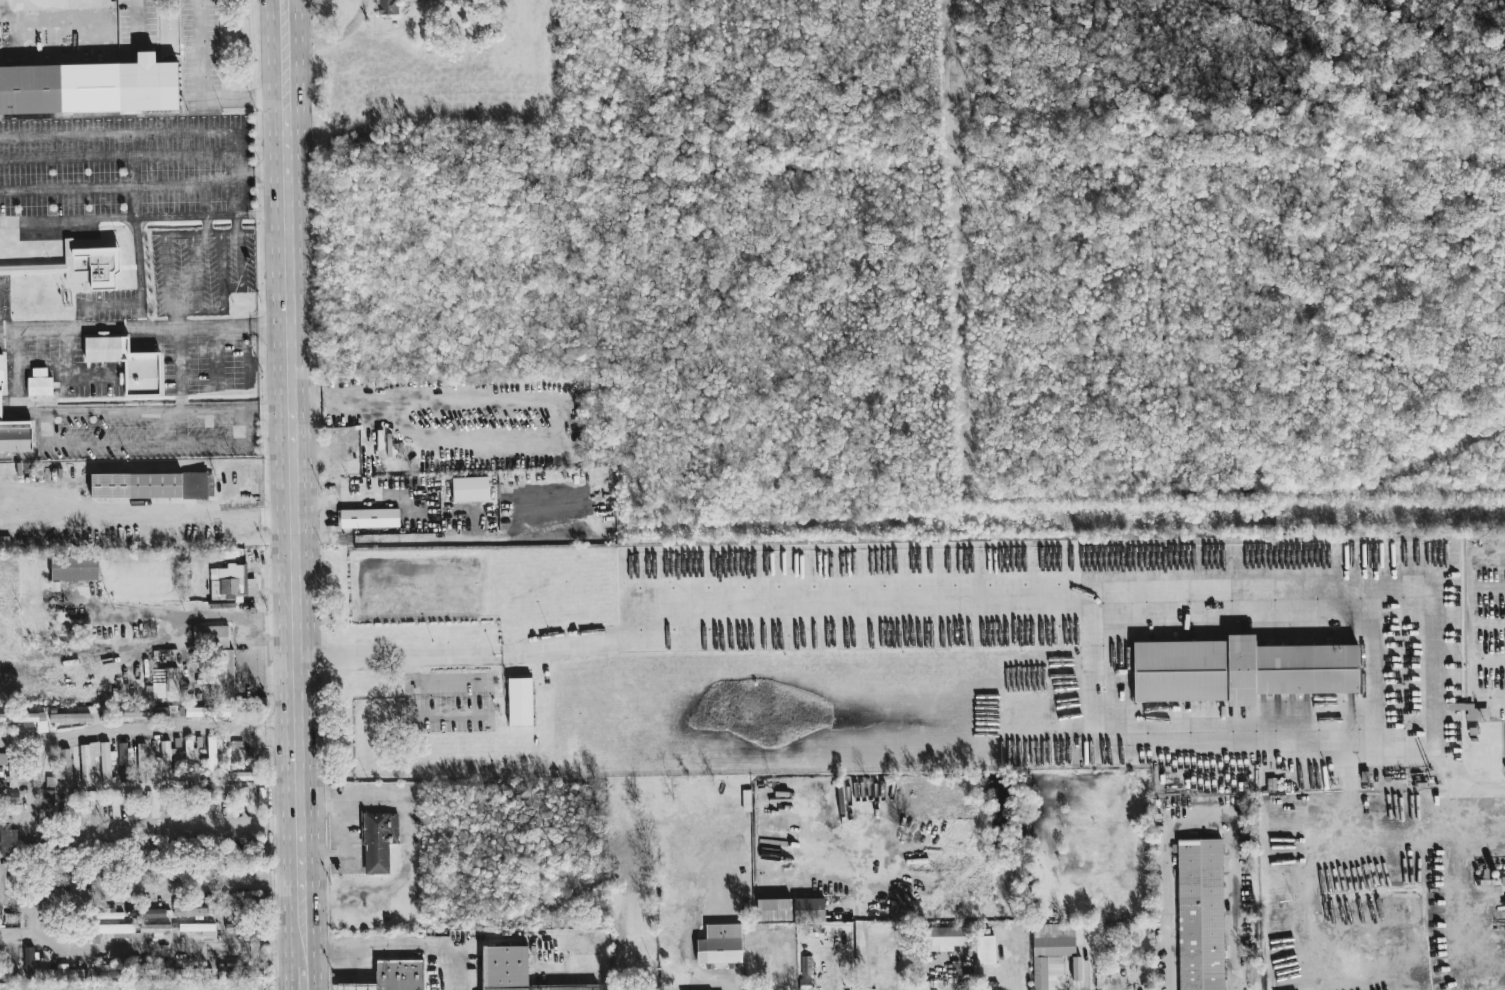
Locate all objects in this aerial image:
building: (464, 0)
building: (388, 7)
road: (212, 78)
road: (271, 86)
road: (297, 86)
building: (90, 87)
road: (116, 133)
road: (117, 156)
road: (234, 172)
road: (134, 174)
road: (117, 185)
road: (205, 198)
road: (261, 213)
road: (118, 216)
road: (206, 223)
road: (222, 230)
road: (185, 233)
road: (222, 259)
building: (92, 266)
road: (140, 272)
road: (194, 272)
road: (166, 275)
road: (234, 286)
road: (178, 320)
road: (214, 327)
road: (71, 329)
building: (128, 363)
building: (40, 383)
road: (268, 413)
building: (13, 428)
road: (144, 440)
building: (152, 485)
building: (470, 489)
building: (369, 518)
road: (145, 527)
road: (291, 534)
building: (75, 567)
road: (1474, 571)
road: (1383, 577)
building: (231, 582)
road: (690, 606)
road: (184, 615)
road: (1490, 623)
parking lot: (1486, 624)
road: (1475, 641)
building: (218, 660)
road: (1371, 662)
building: (1235, 671)
road: (1475, 676)
building: (164, 682)
building: (520, 701)
building: (1471, 711)
building: (146, 712)
building: (206, 712)
building: (70, 717)
road: (267, 718)
building: (27, 719)
road: (120, 729)
road: (264, 740)
building: (214, 757)
building: (1503, 757)
building: (3, 758)
building: (190, 758)
building: (167, 759)
building: (88, 761)
building: (107, 762)
building: (125, 763)
building: (141, 763)
road: (1449, 765)
building: (66, 766)
building: (11, 770)
building: (1, 772)
building: (238, 775)
road: (33, 777)
road: (1483, 791)
building: (9, 796)
building: (50, 804)
road: (1203, 815)
road: (146, 827)
building: (7, 838)
building: (379, 840)
road: (408, 841)
road: (350, 854)
building: (1504, 880)
road: (1467, 884)
road: (163, 885)
building: (223, 898)
building: (246, 903)
road: (28, 905)
building: (809, 910)
building: (190, 912)
building: (155, 913)
building: (105, 914)
building: (1205, 916)
road: (299, 923)
building: (193, 927)
building: (156, 928)
building: (115, 933)
building: (943, 938)
road: (398, 943)
building: (720, 944)
building: (985, 949)
road: (148, 950)
building: (1051, 954)
road: (300, 955)
road: (861, 957)
building: (29, 962)
building: (806, 965)
road: (899, 966)
building: (1076, 968)
building: (148, 969)
building: (192, 971)
building: (514, 971)
building: (63, 973)
road: (301, 976)
building: (393, 976)

